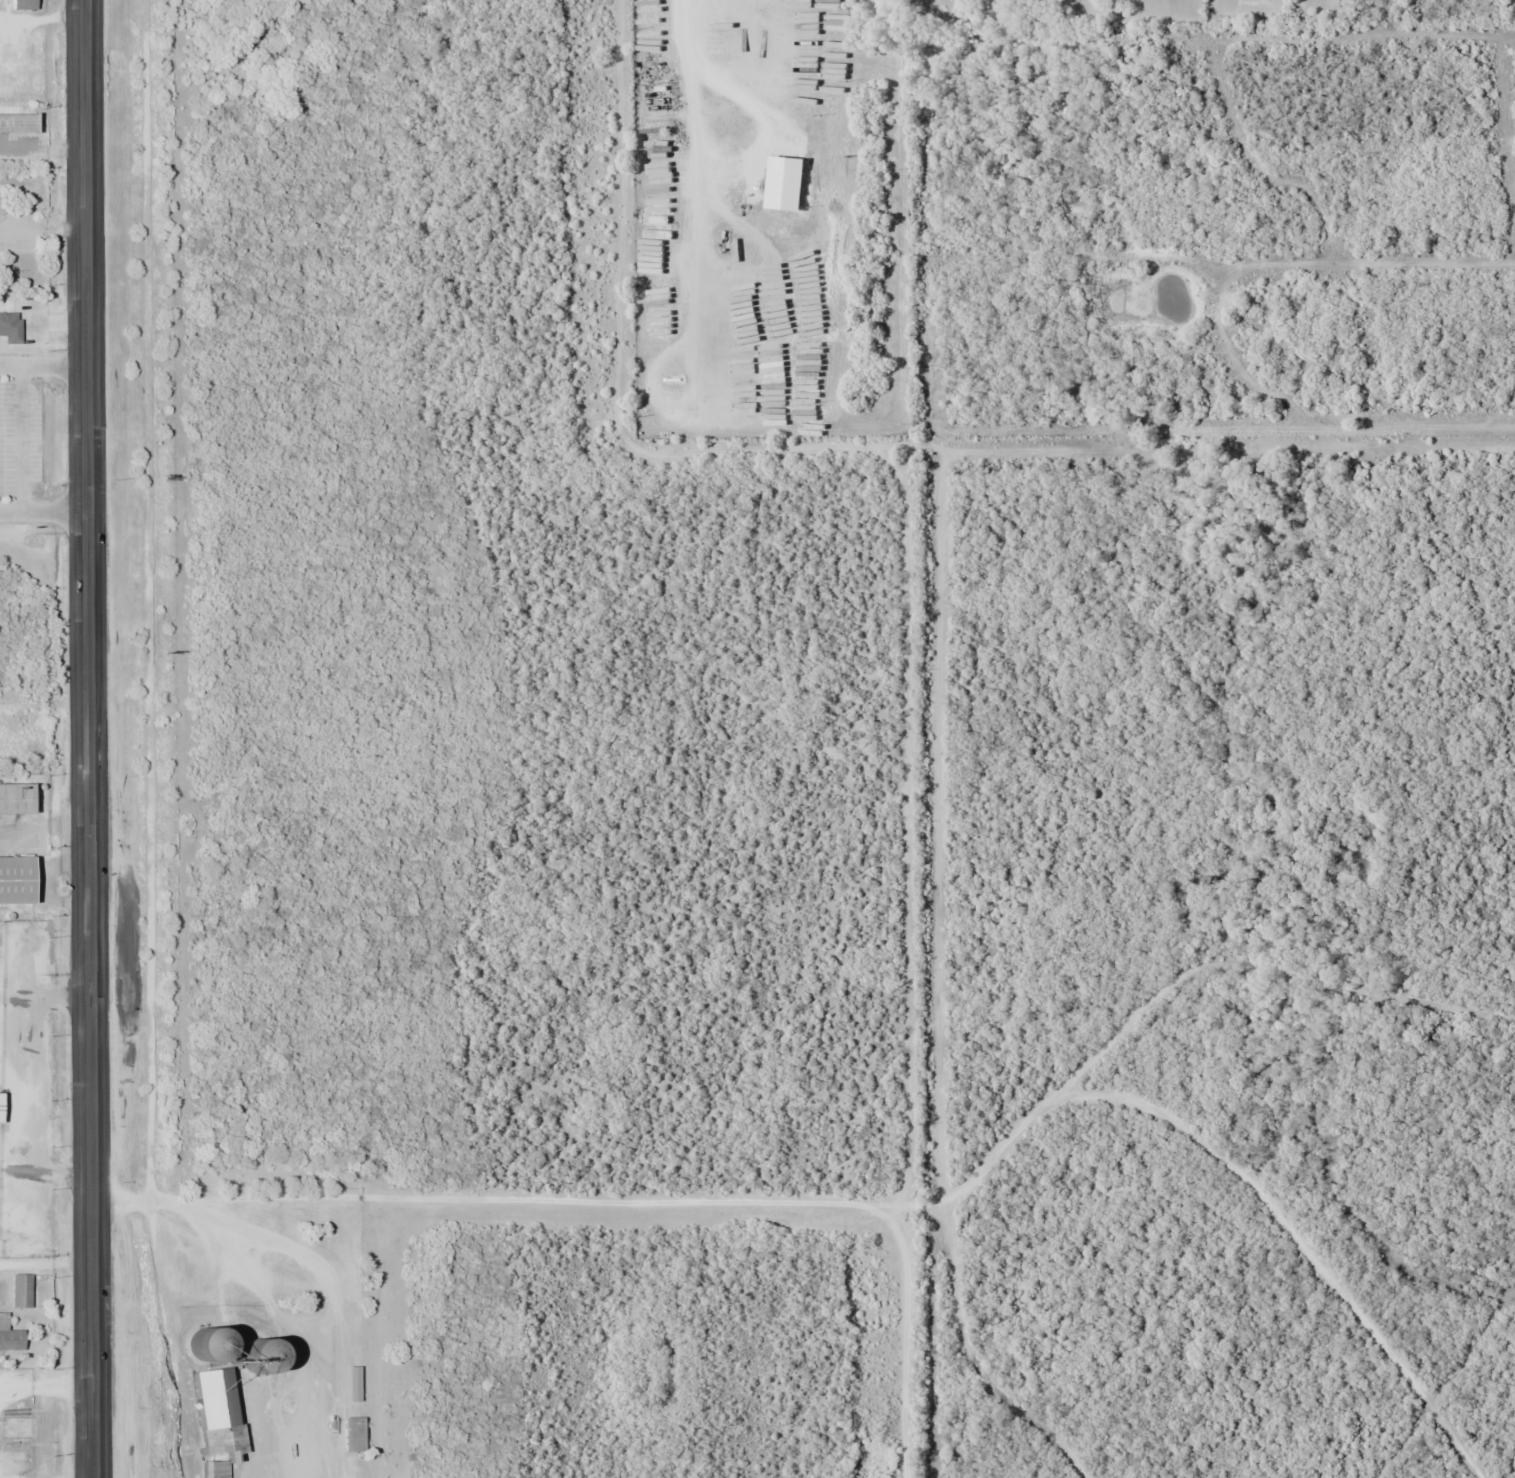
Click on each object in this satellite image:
building: (22, 4)
road: (708, 78)
building: (16, 122)
building: (10, 327)
road: (87, 739)
railway: (146, 739)
building: (15, 798)
building: (15, 880)
road: (1243, 1184)
road: (492, 1201)
building: (20, 1291)
road: (899, 1317)
building: (9, 1338)
building: (201, 1346)
road: (990, 1346)
building: (253, 1357)
building: (352, 1384)
building: (215, 1413)
building: (351, 1435)
building: (214, 1469)

